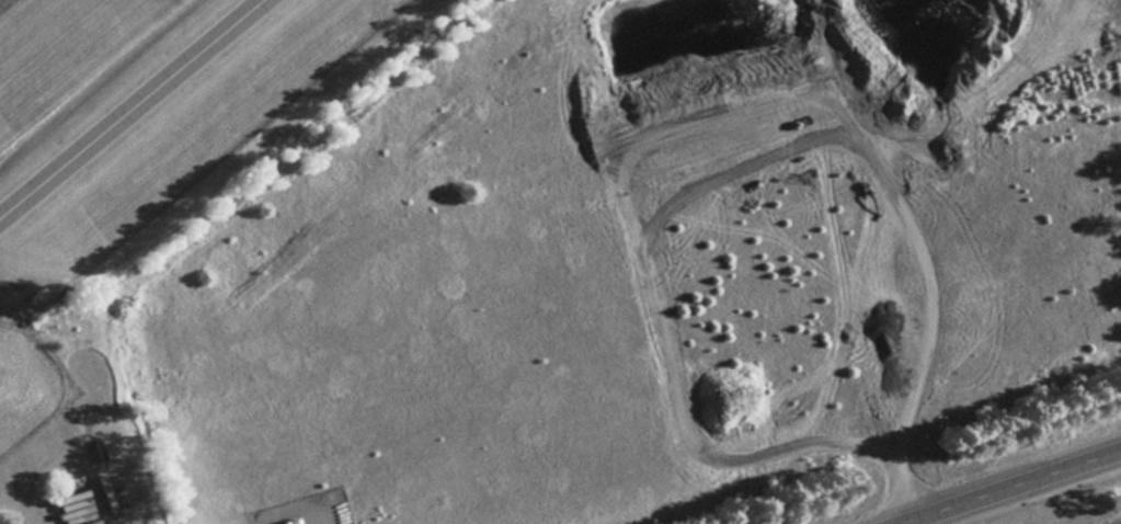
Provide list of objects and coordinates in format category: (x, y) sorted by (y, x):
airport taxiway: (125, 103)
road: (1006, 486)
building: (85, 521)
building: (291, 521)

